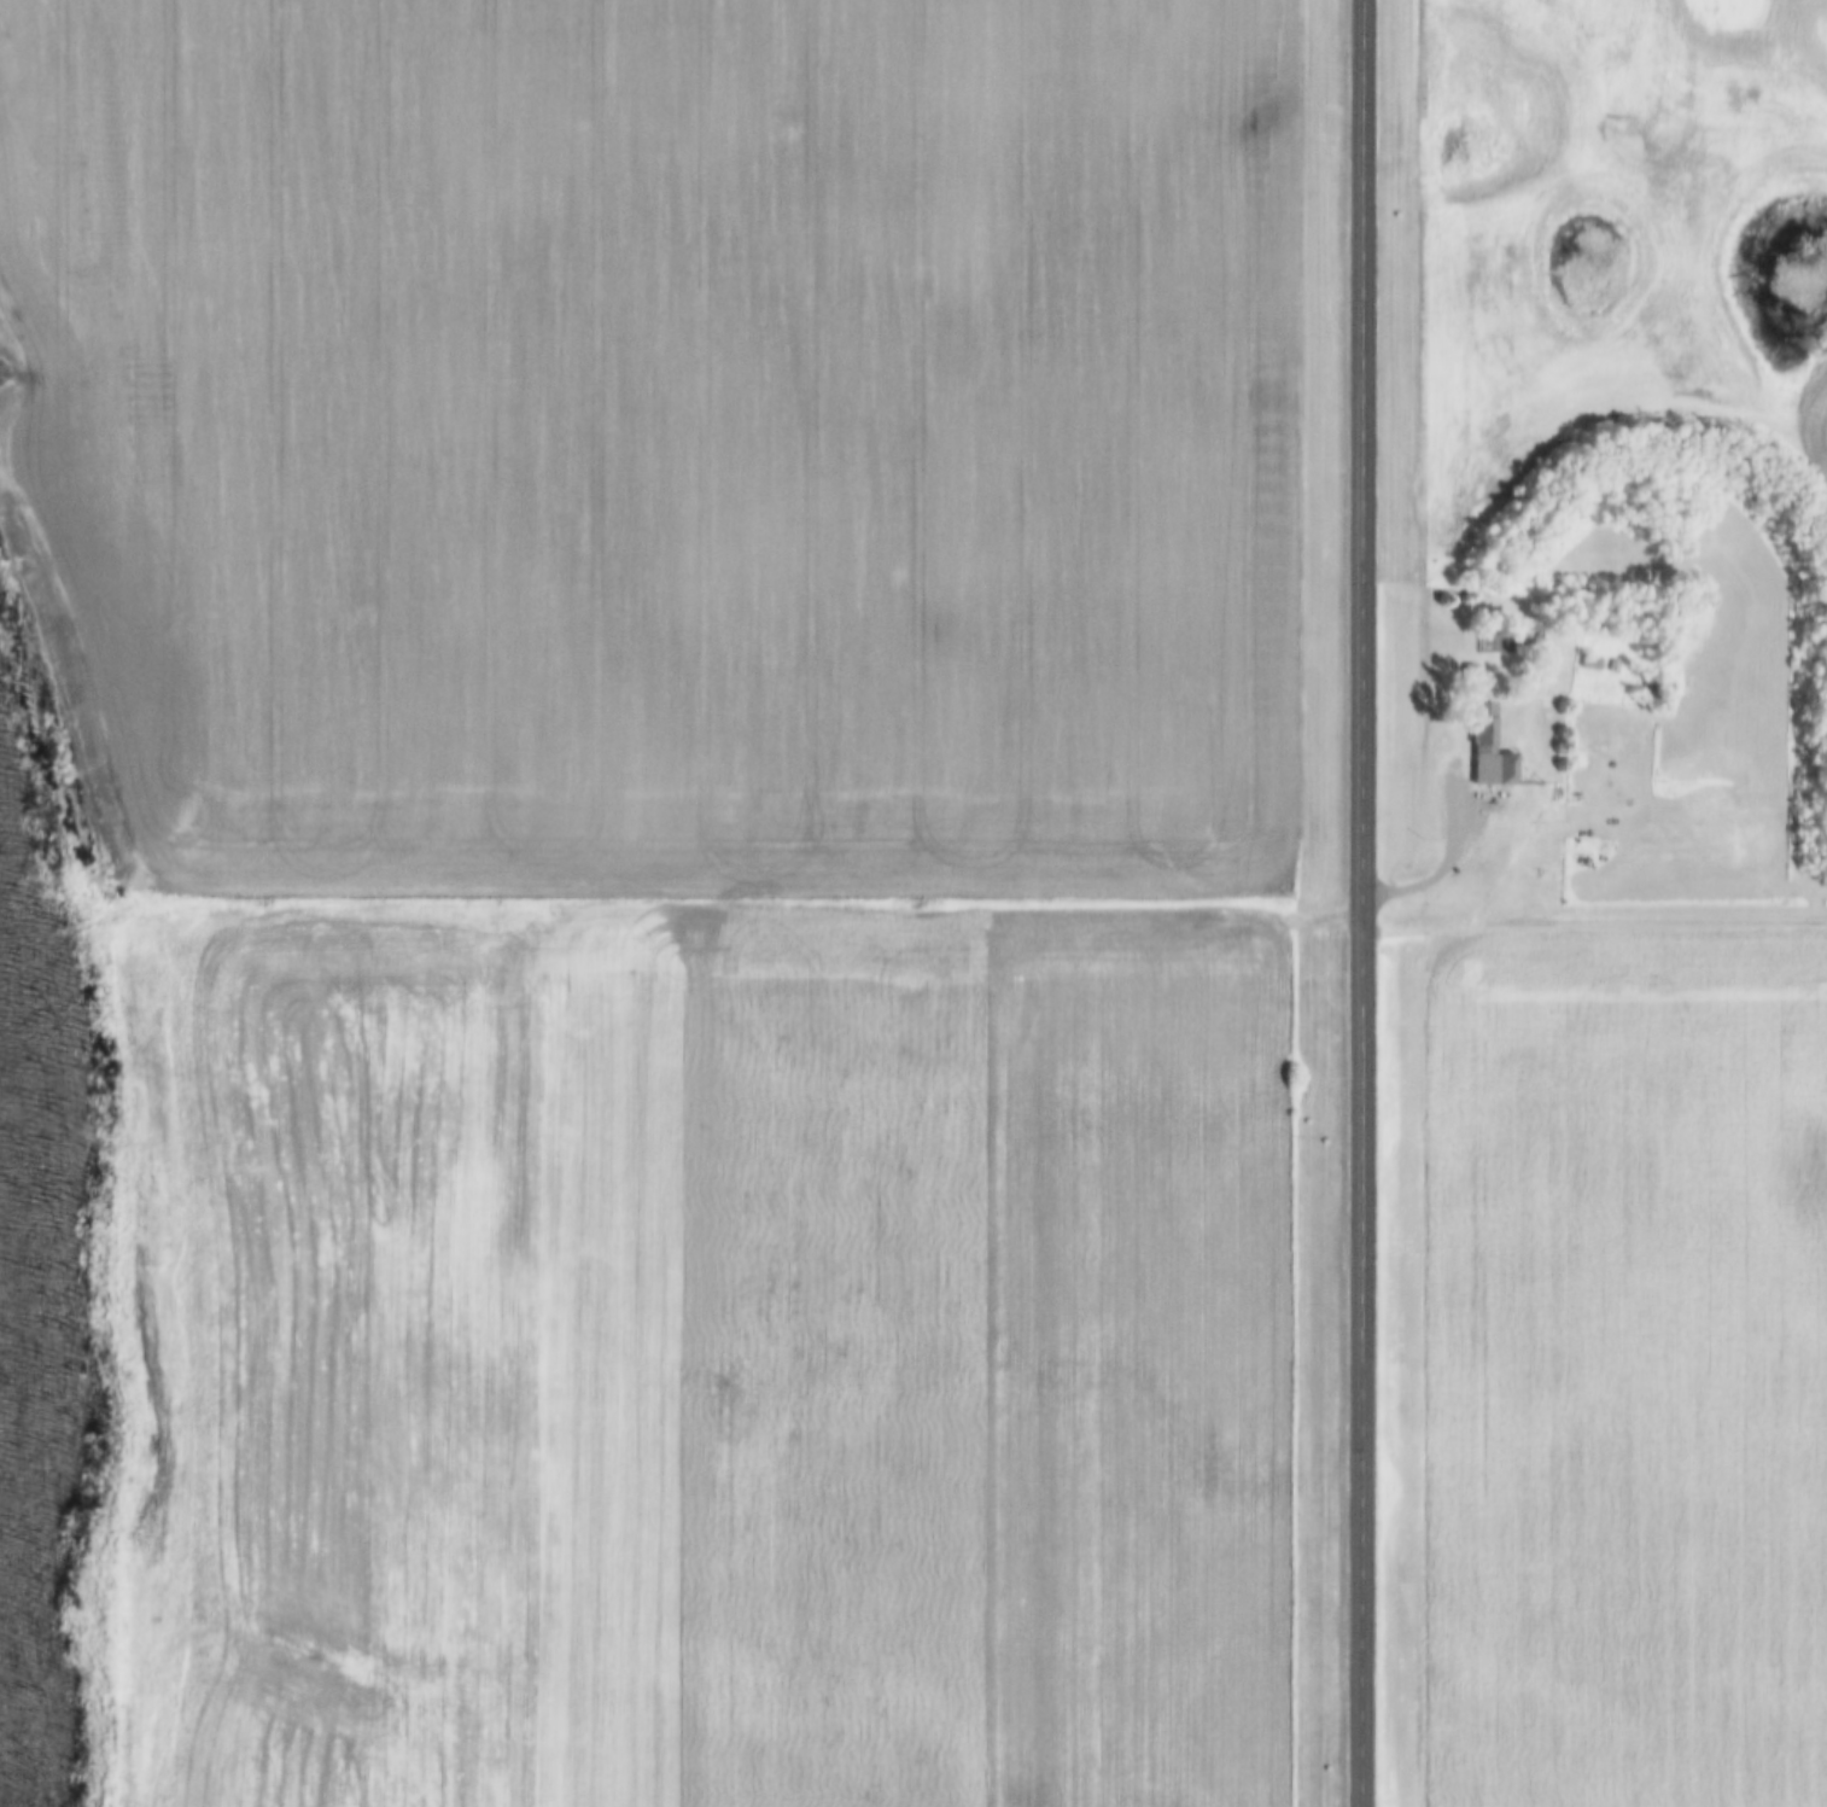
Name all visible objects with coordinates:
building: (1592, 664)
building: (1651, 690)
building: (1489, 752)
road: (1450, 873)
road: (1362, 903)

